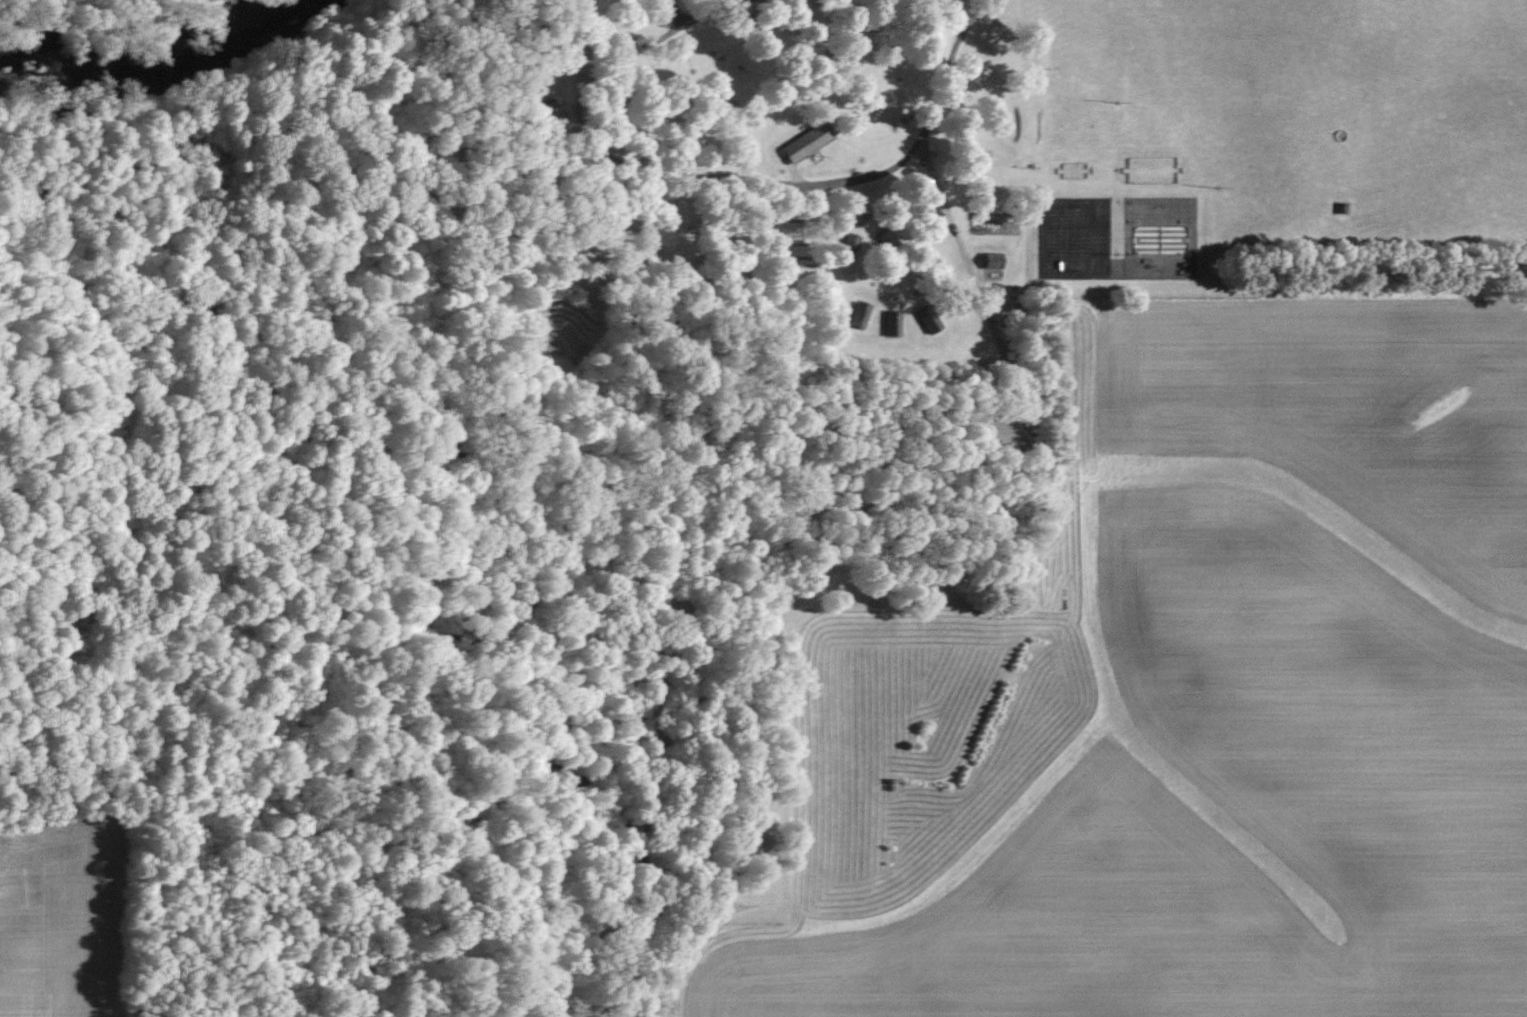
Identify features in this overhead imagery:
road: (703, 12)
river: (167, 64)
road: (925, 130)
building: (804, 142)
building: (884, 239)
building: (847, 247)
building: (990, 261)
road: (970, 272)
building: (858, 315)
building: (927, 320)
building: (890, 323)
building: (991, 432)
building: (755, 845)
road: (674, 998)

